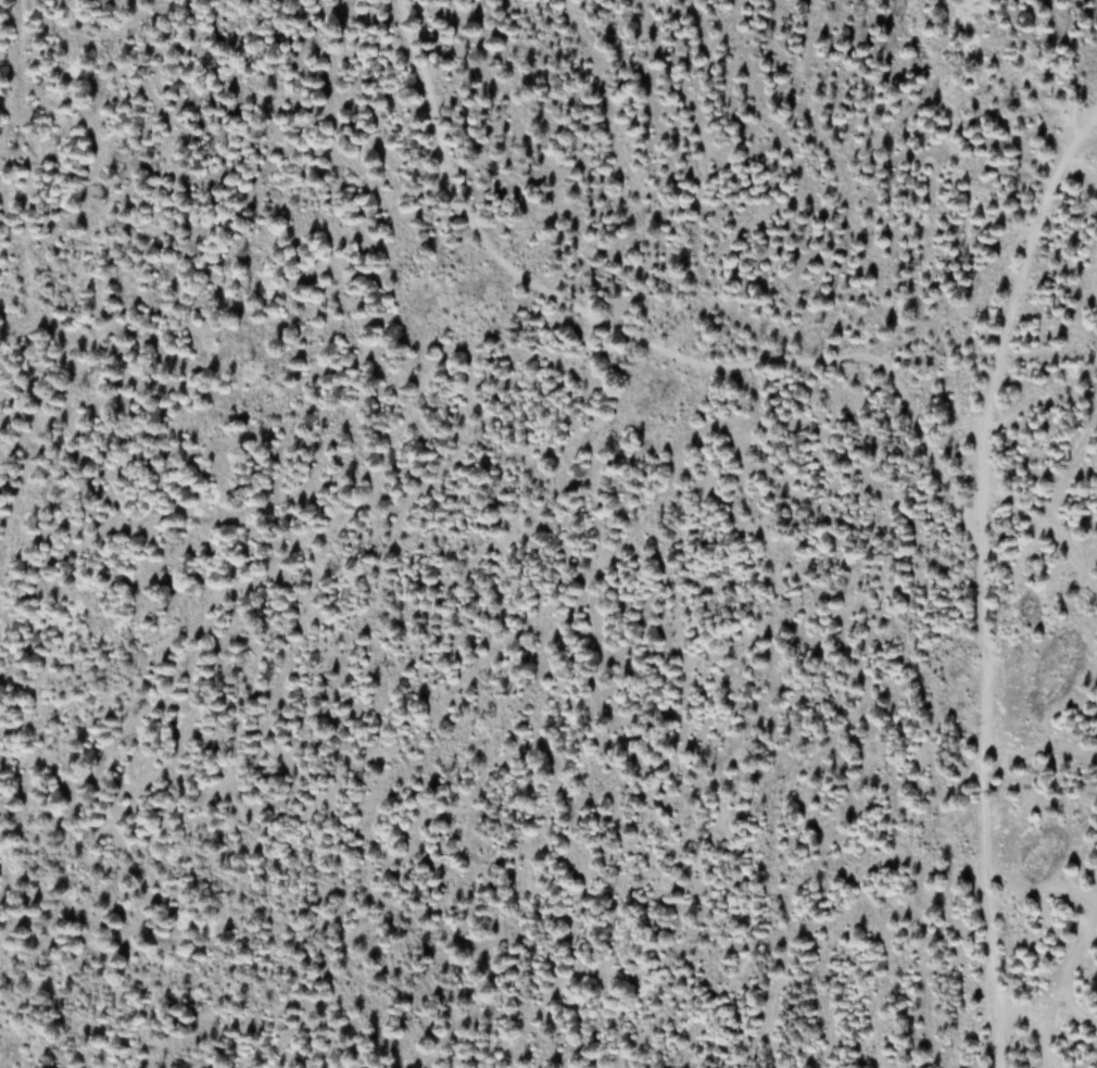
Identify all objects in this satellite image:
road: (641, 344)
road: (980, 575)

